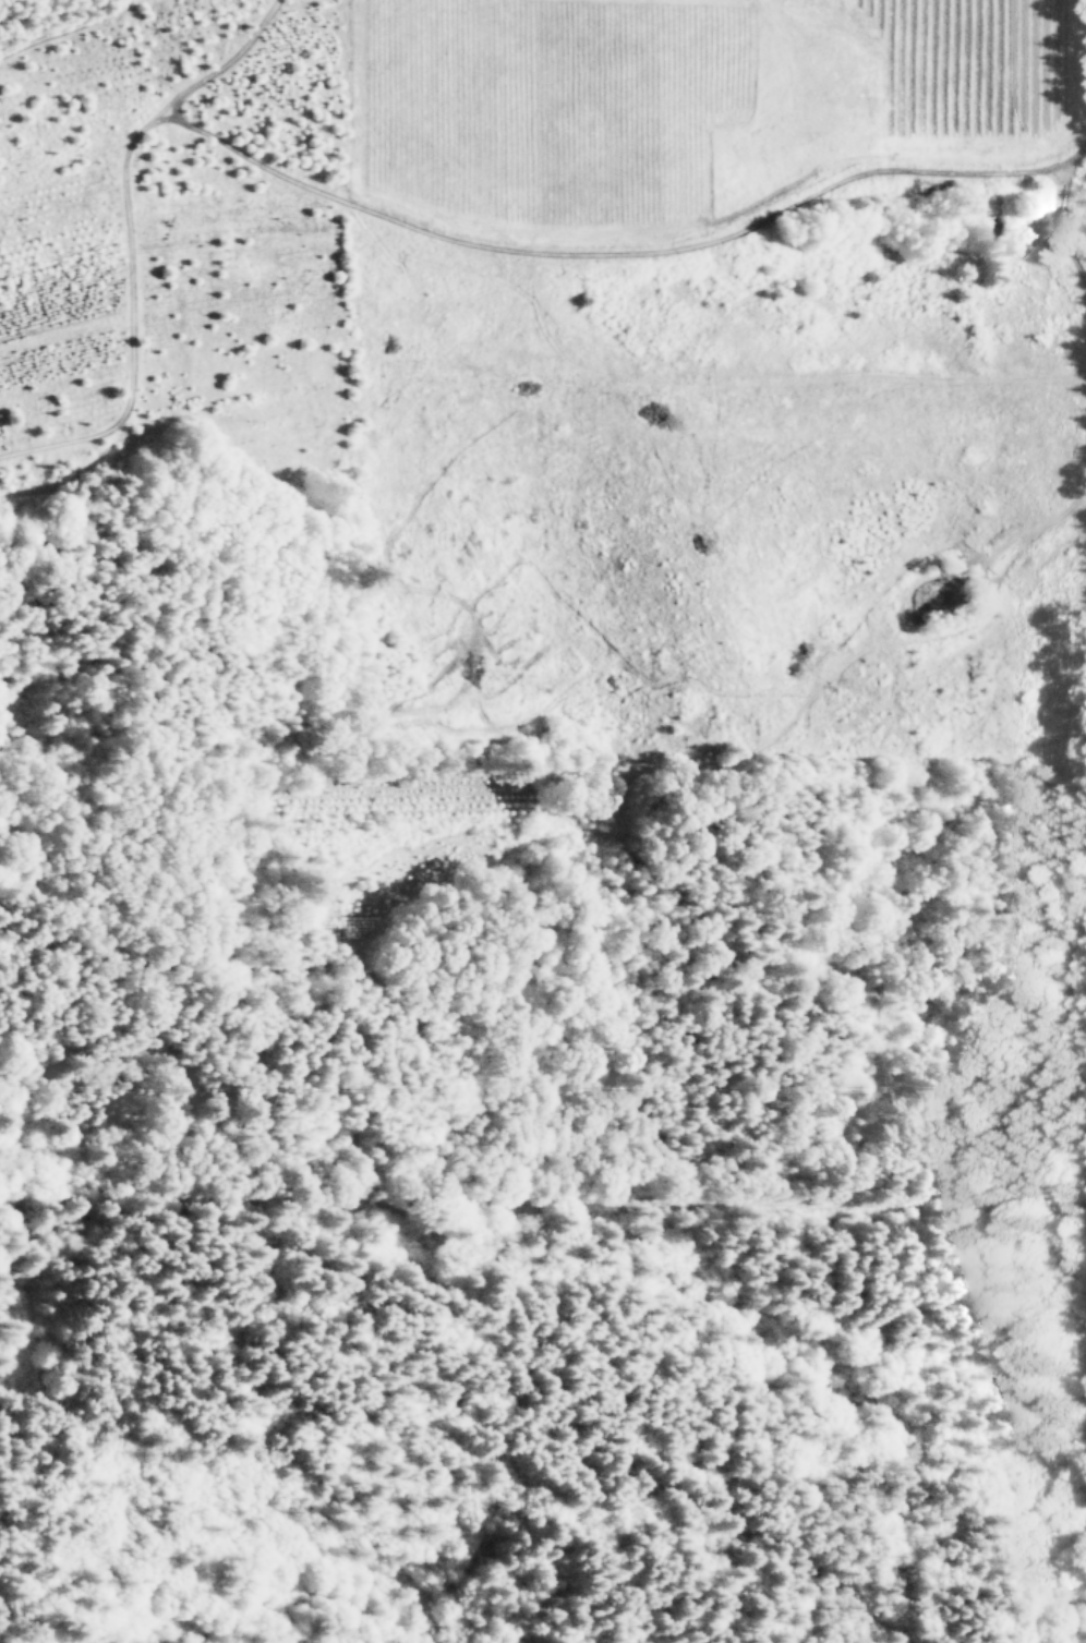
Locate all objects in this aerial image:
road: (65, 33)

